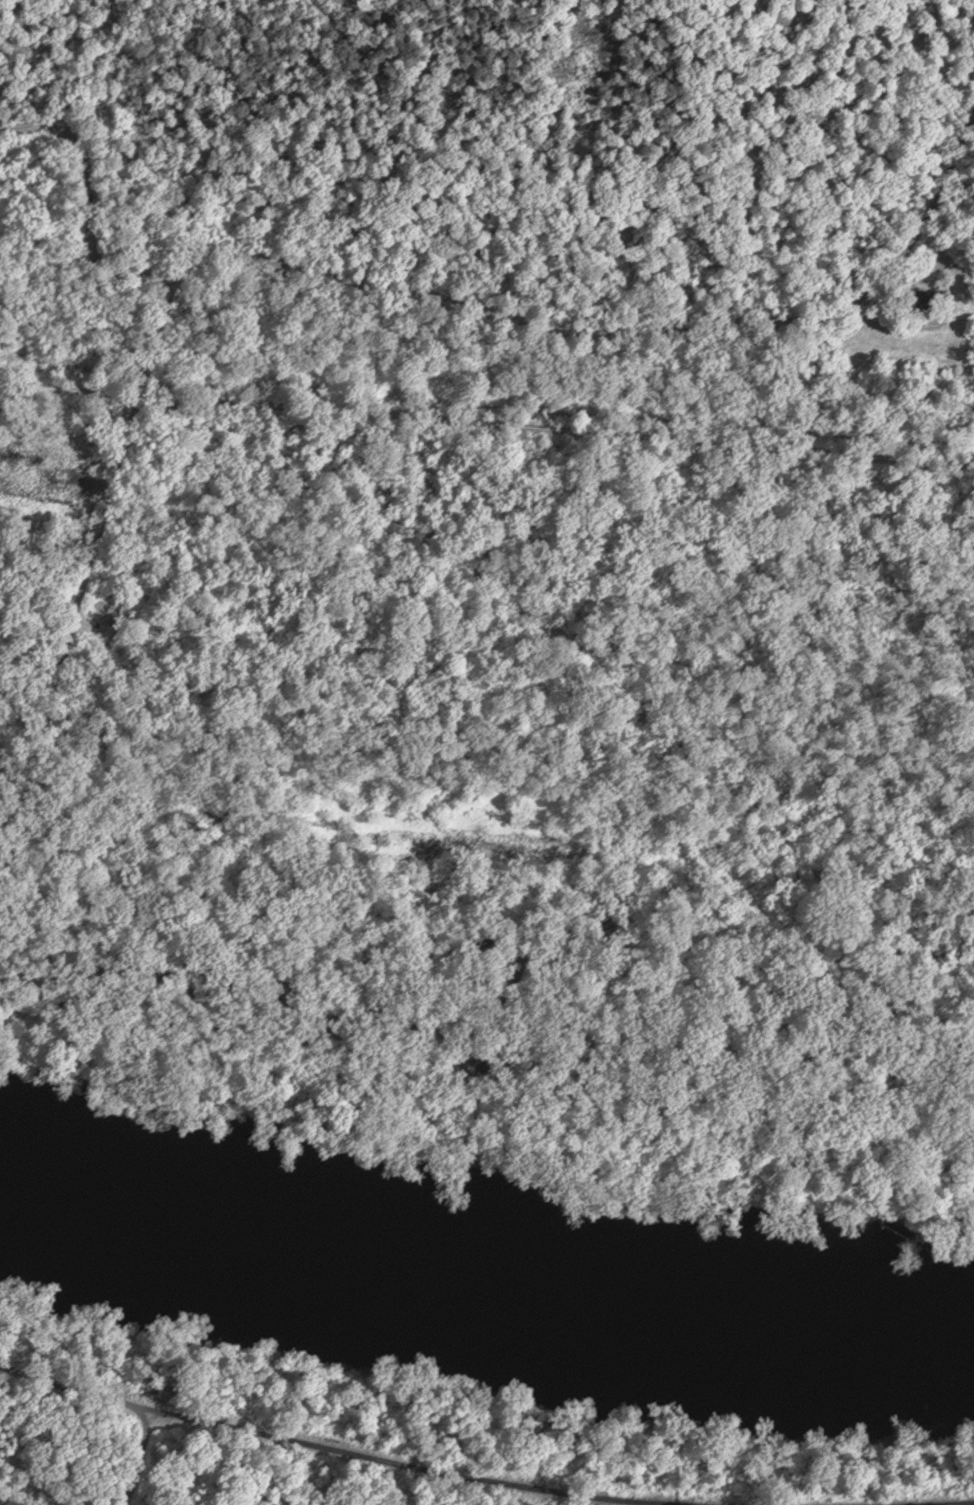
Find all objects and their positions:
road: (480, 304)
road: (907, 328)
road: (486, 425)
road: (80, 592)
road: (223, 984)
river: (484, 1280)
road: (313, 1447)
road: (905, 1502)

